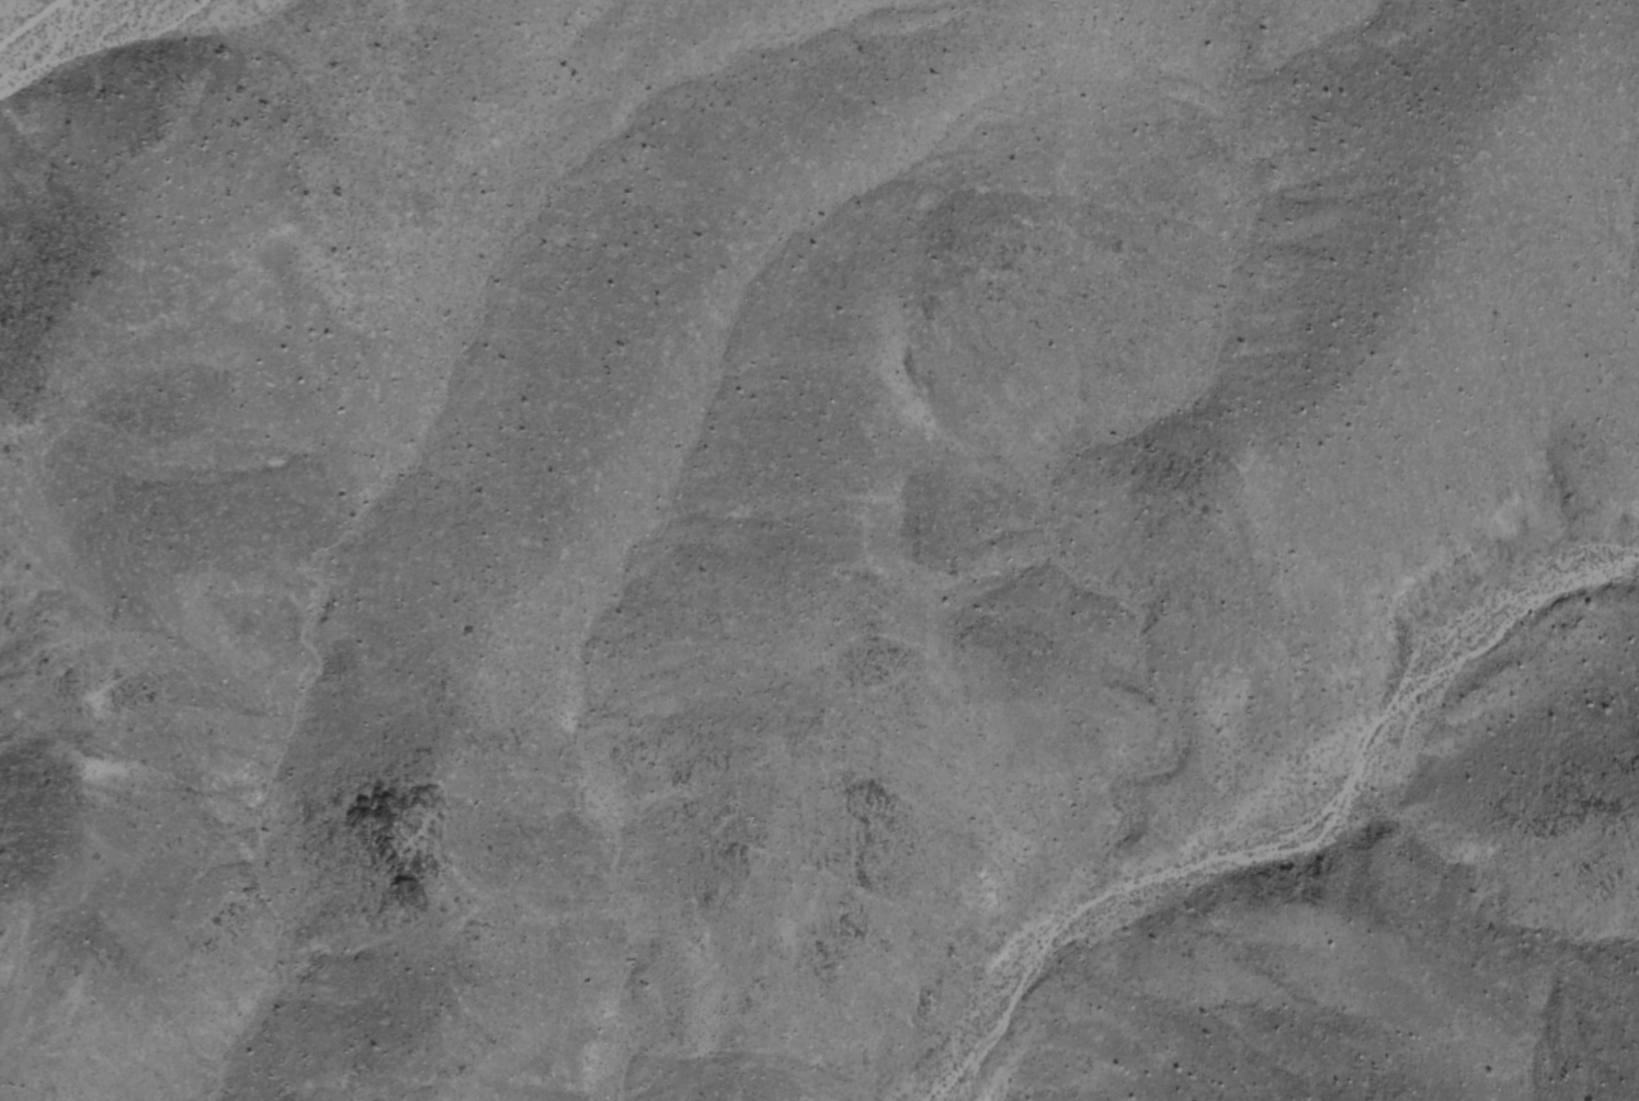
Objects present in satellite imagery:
road: (10, 4)

